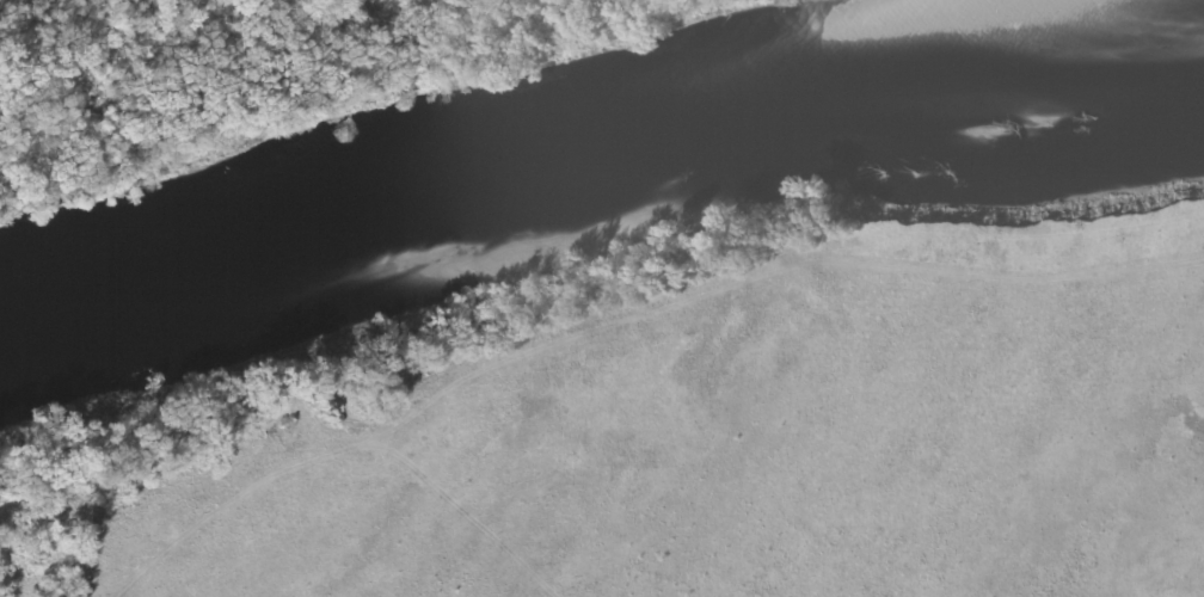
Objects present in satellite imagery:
river: (524, 162)

